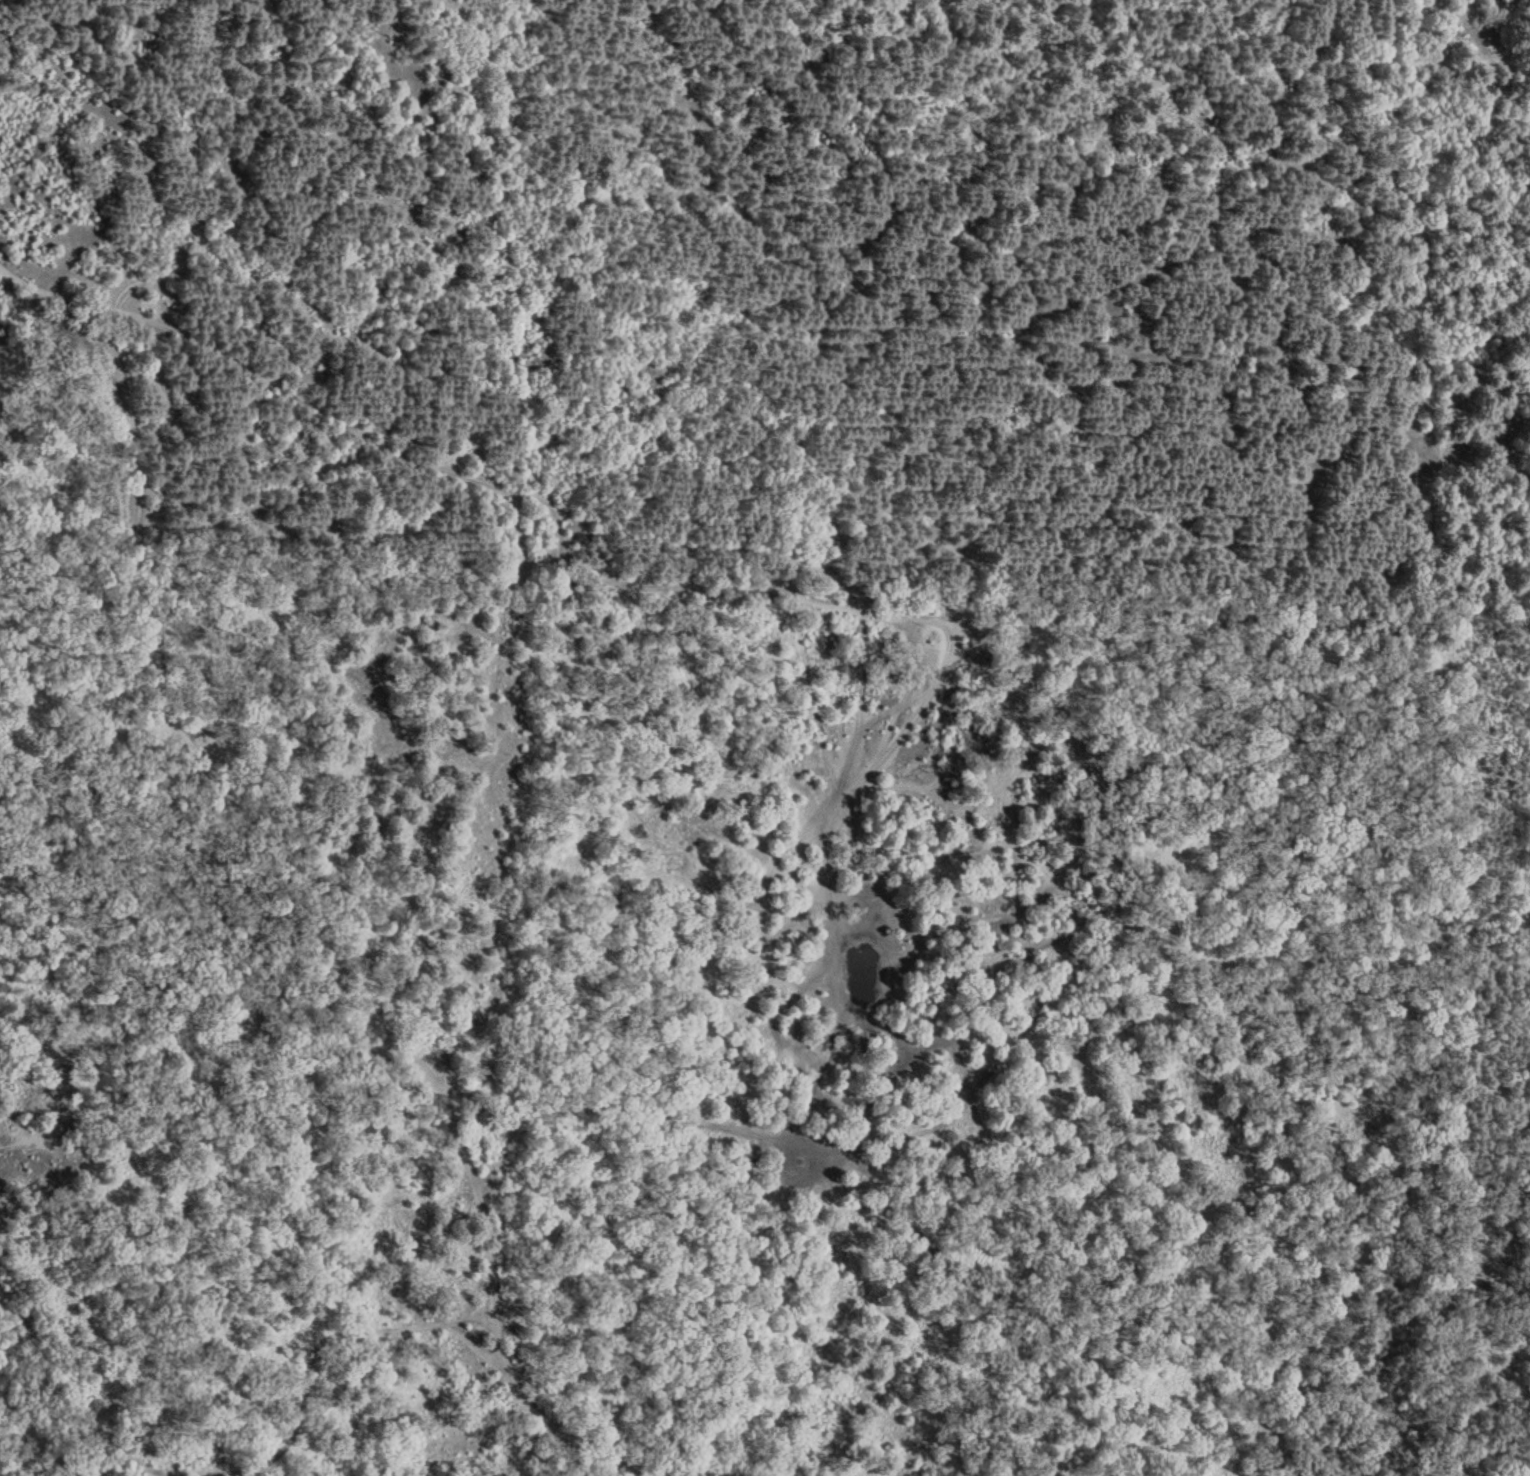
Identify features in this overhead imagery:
road: (1442, 735)

